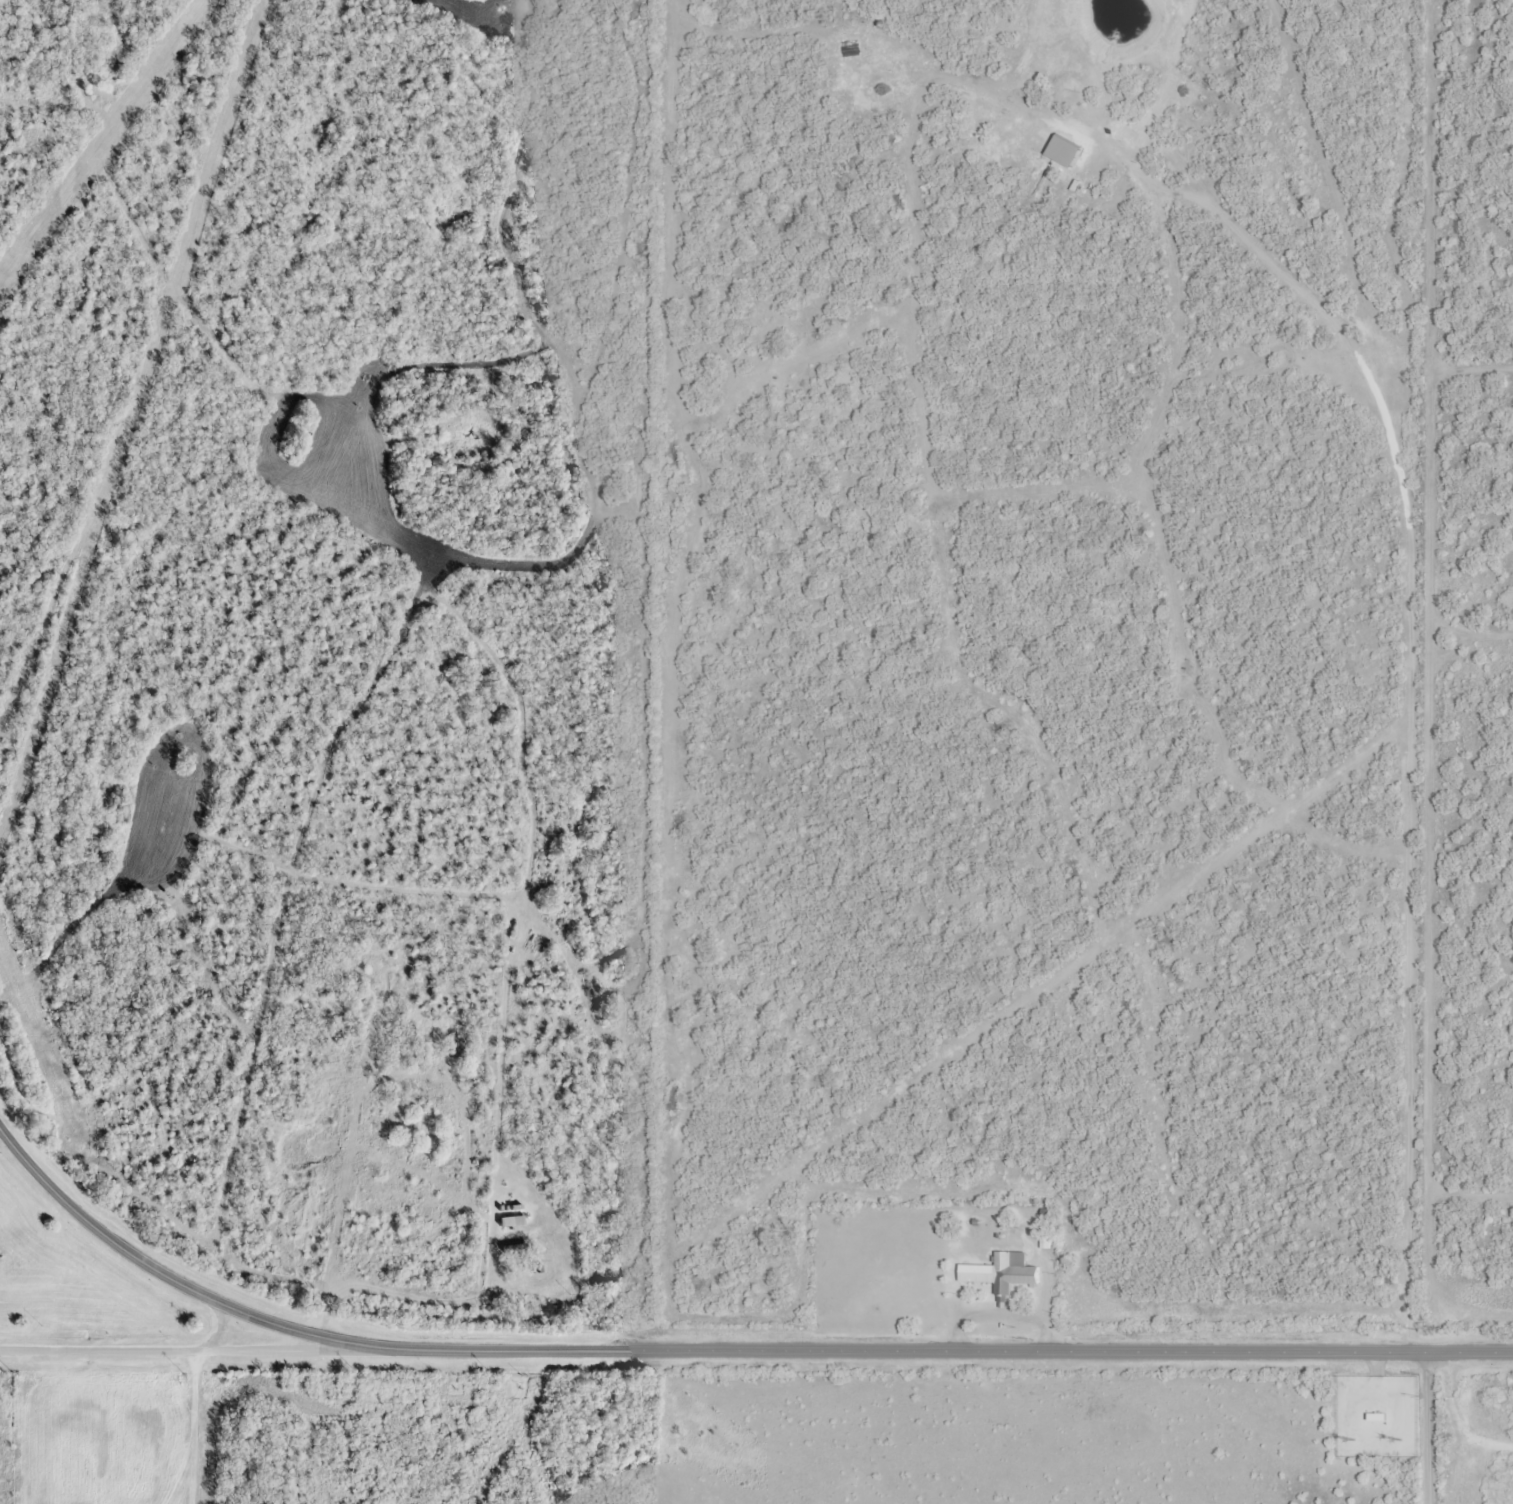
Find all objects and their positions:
building: (1048, 1212)
building: (512, 1218)
building: (1047, 1241)
building: (515, 1245)
building: (540, 1266)
building: (1002, 1272)
road: (186, 1348)
road: (721, 1350)
road: (193, 1398)
building: (1378, 1415)
road: (1427, 1428)
road: (175, 1475)
road: (191, 1475)

